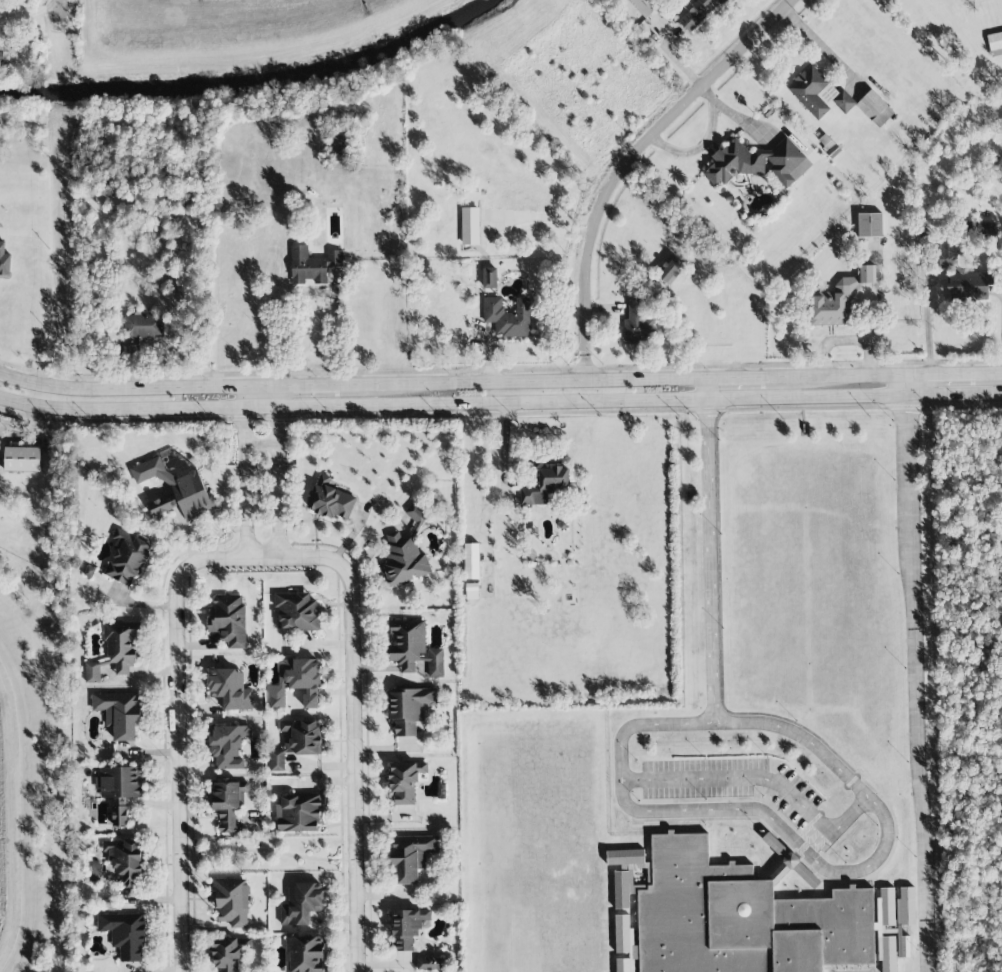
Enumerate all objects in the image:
road: (59, 3)
building: (644, 6)
road: (30, 14)
building: (698, 14)
building: (995, 44)
road: (819, 45)
building: (5, 55)
building: (818, 94)
building: (874, 108)
building: (339, 142)
building: (758, 163)
road: (629, 164)
road: (541, 217)
building: (870, 225)
building: (469, 226)
building: (4, 260)
building: (314, 266)
building: (670, 271)
building: (962, 275)
building: (489, 278)
building: (838, 299)
building: (508, 317)
road: (925, 317)
building: (637, 324)
building: (143, 326)
road: (337, 332)
road: (499, 370)
road: (940, 372)
road: (990, 372)
road: (834, 375)
road: (735, 377)
road: (522, 382)
road: (903, 384)
road: (308, 385)
road: (137, 386)
road: (705, 388)
road: (754, 397)
road: (252, 405)
road: (500, 414)
road: (243, 422)
road: (276, 422)
road: (260, 446)
road: (503, 450)
building: (22, 459)
building: (545, 486)
building: (175, 490)
building: (330, 499)
road: (244, 507)
road: (277, 507)
building: (418, 513)
building: (127, 558)
building: (403, 558)
building: (471, 561)
road: (709, 561)
building: (296, 611)
building: (228, 619)
building: (407, 643)
building: (122, 646)
building: (435, 663)
building: (92, 672)
building: (296, 682)
road: (914, 683)
building: (230, 689)
building: (409, 708)
building: (119, 712)
road: (355, 717)
road: (175, 736)
building: (296, 741)
building: (228, 746)
road: (762, 777)
building: (405, 780)
building: (120, 782)
building: (227, 803)
building: (298, 813)
building: (119, 816)
road: (796, 841)
road: (270, 851)
building: (411, 856)
building: (126, 862)
building: (231, 901)
building: (302, 904)
building: (885, 909)
building: (739, 915)
building: (407, 927)
building: (124, 934)
building: (230, 953)
building: (305, 954)
building: (887, 954)
building: (429, 964)

